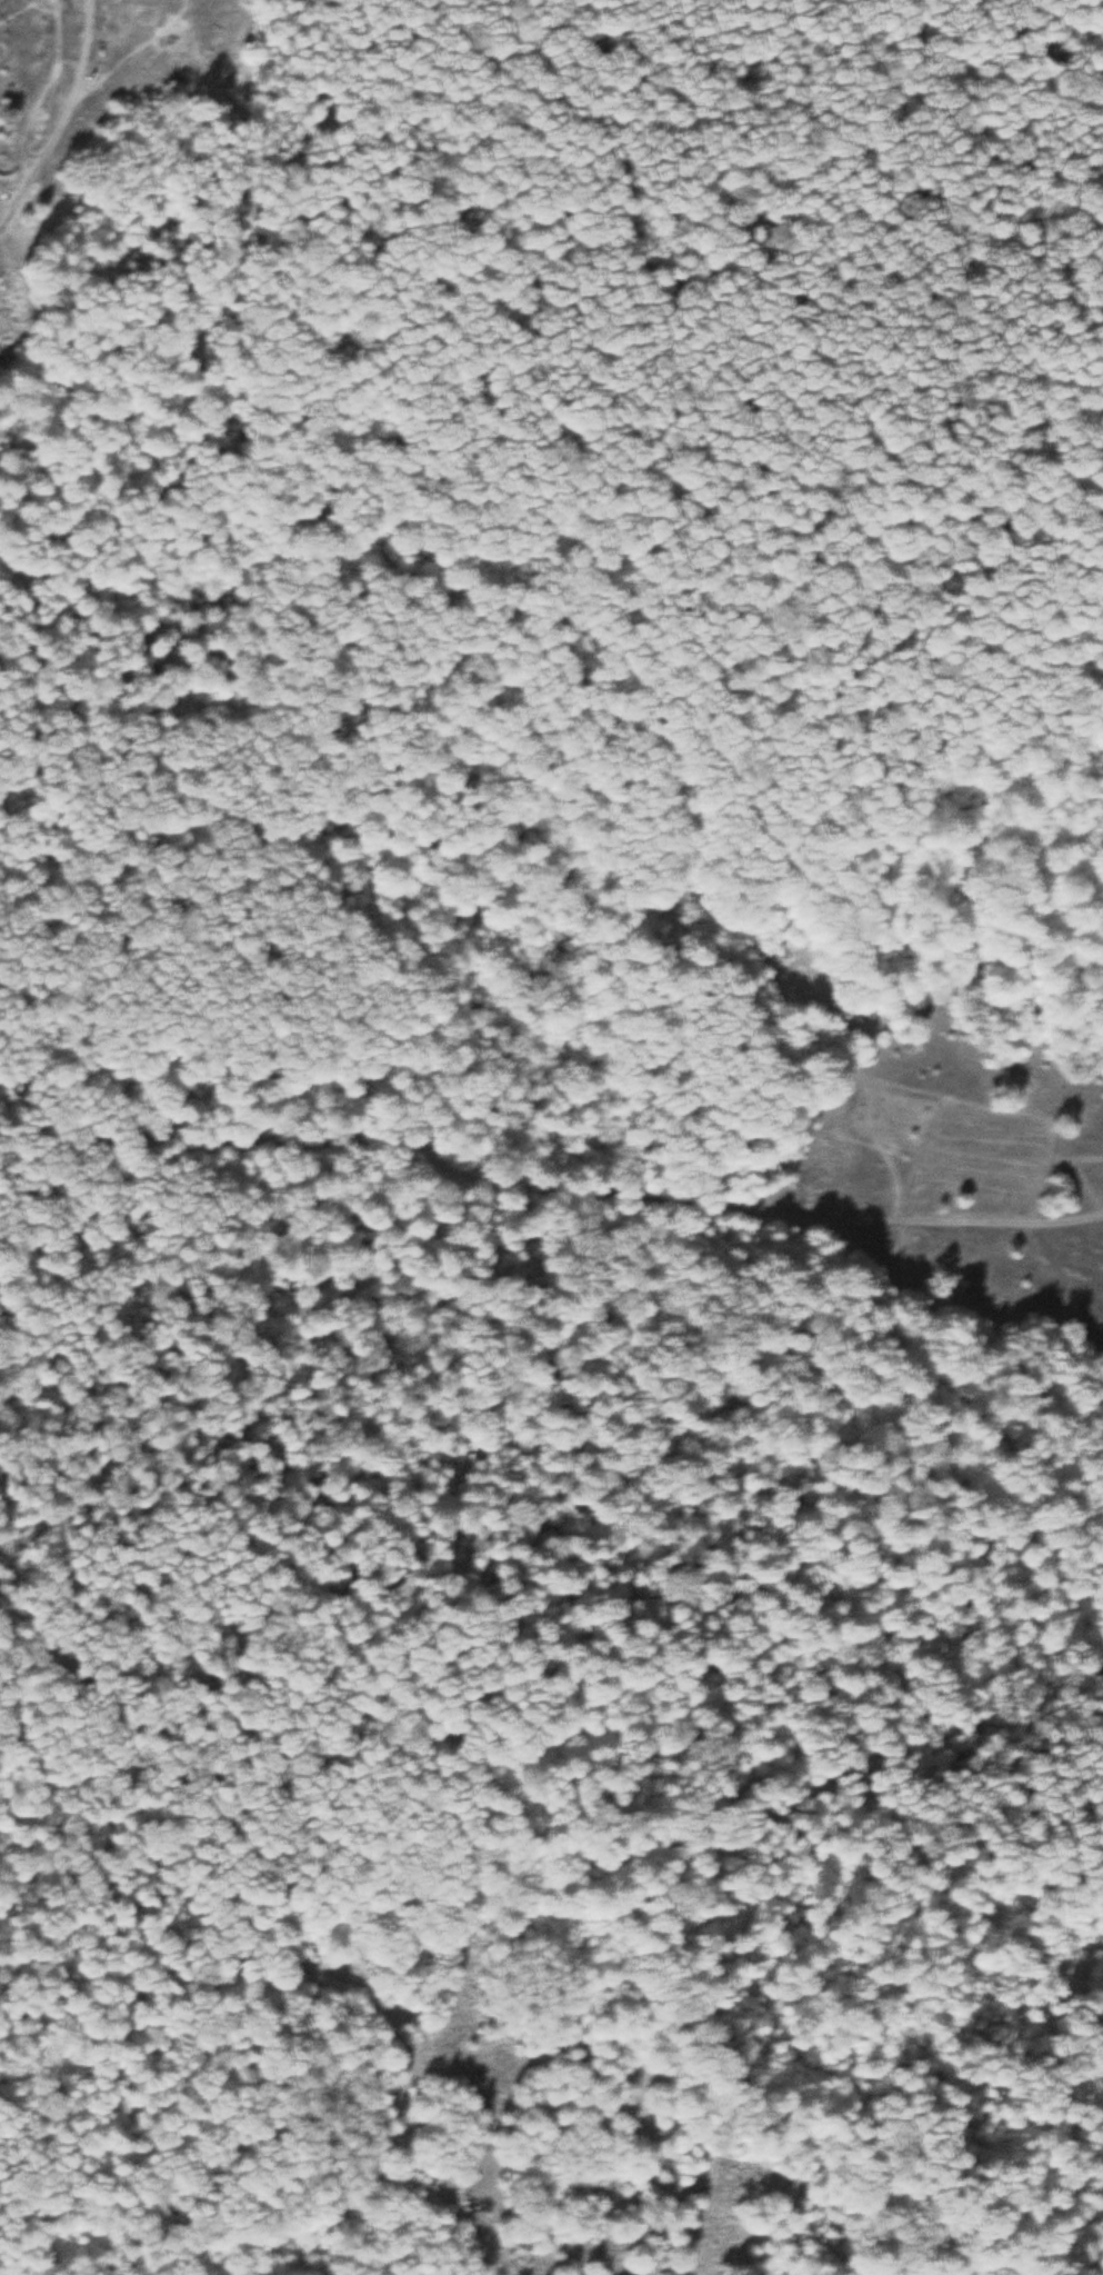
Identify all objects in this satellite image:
road: (542, 1181)

